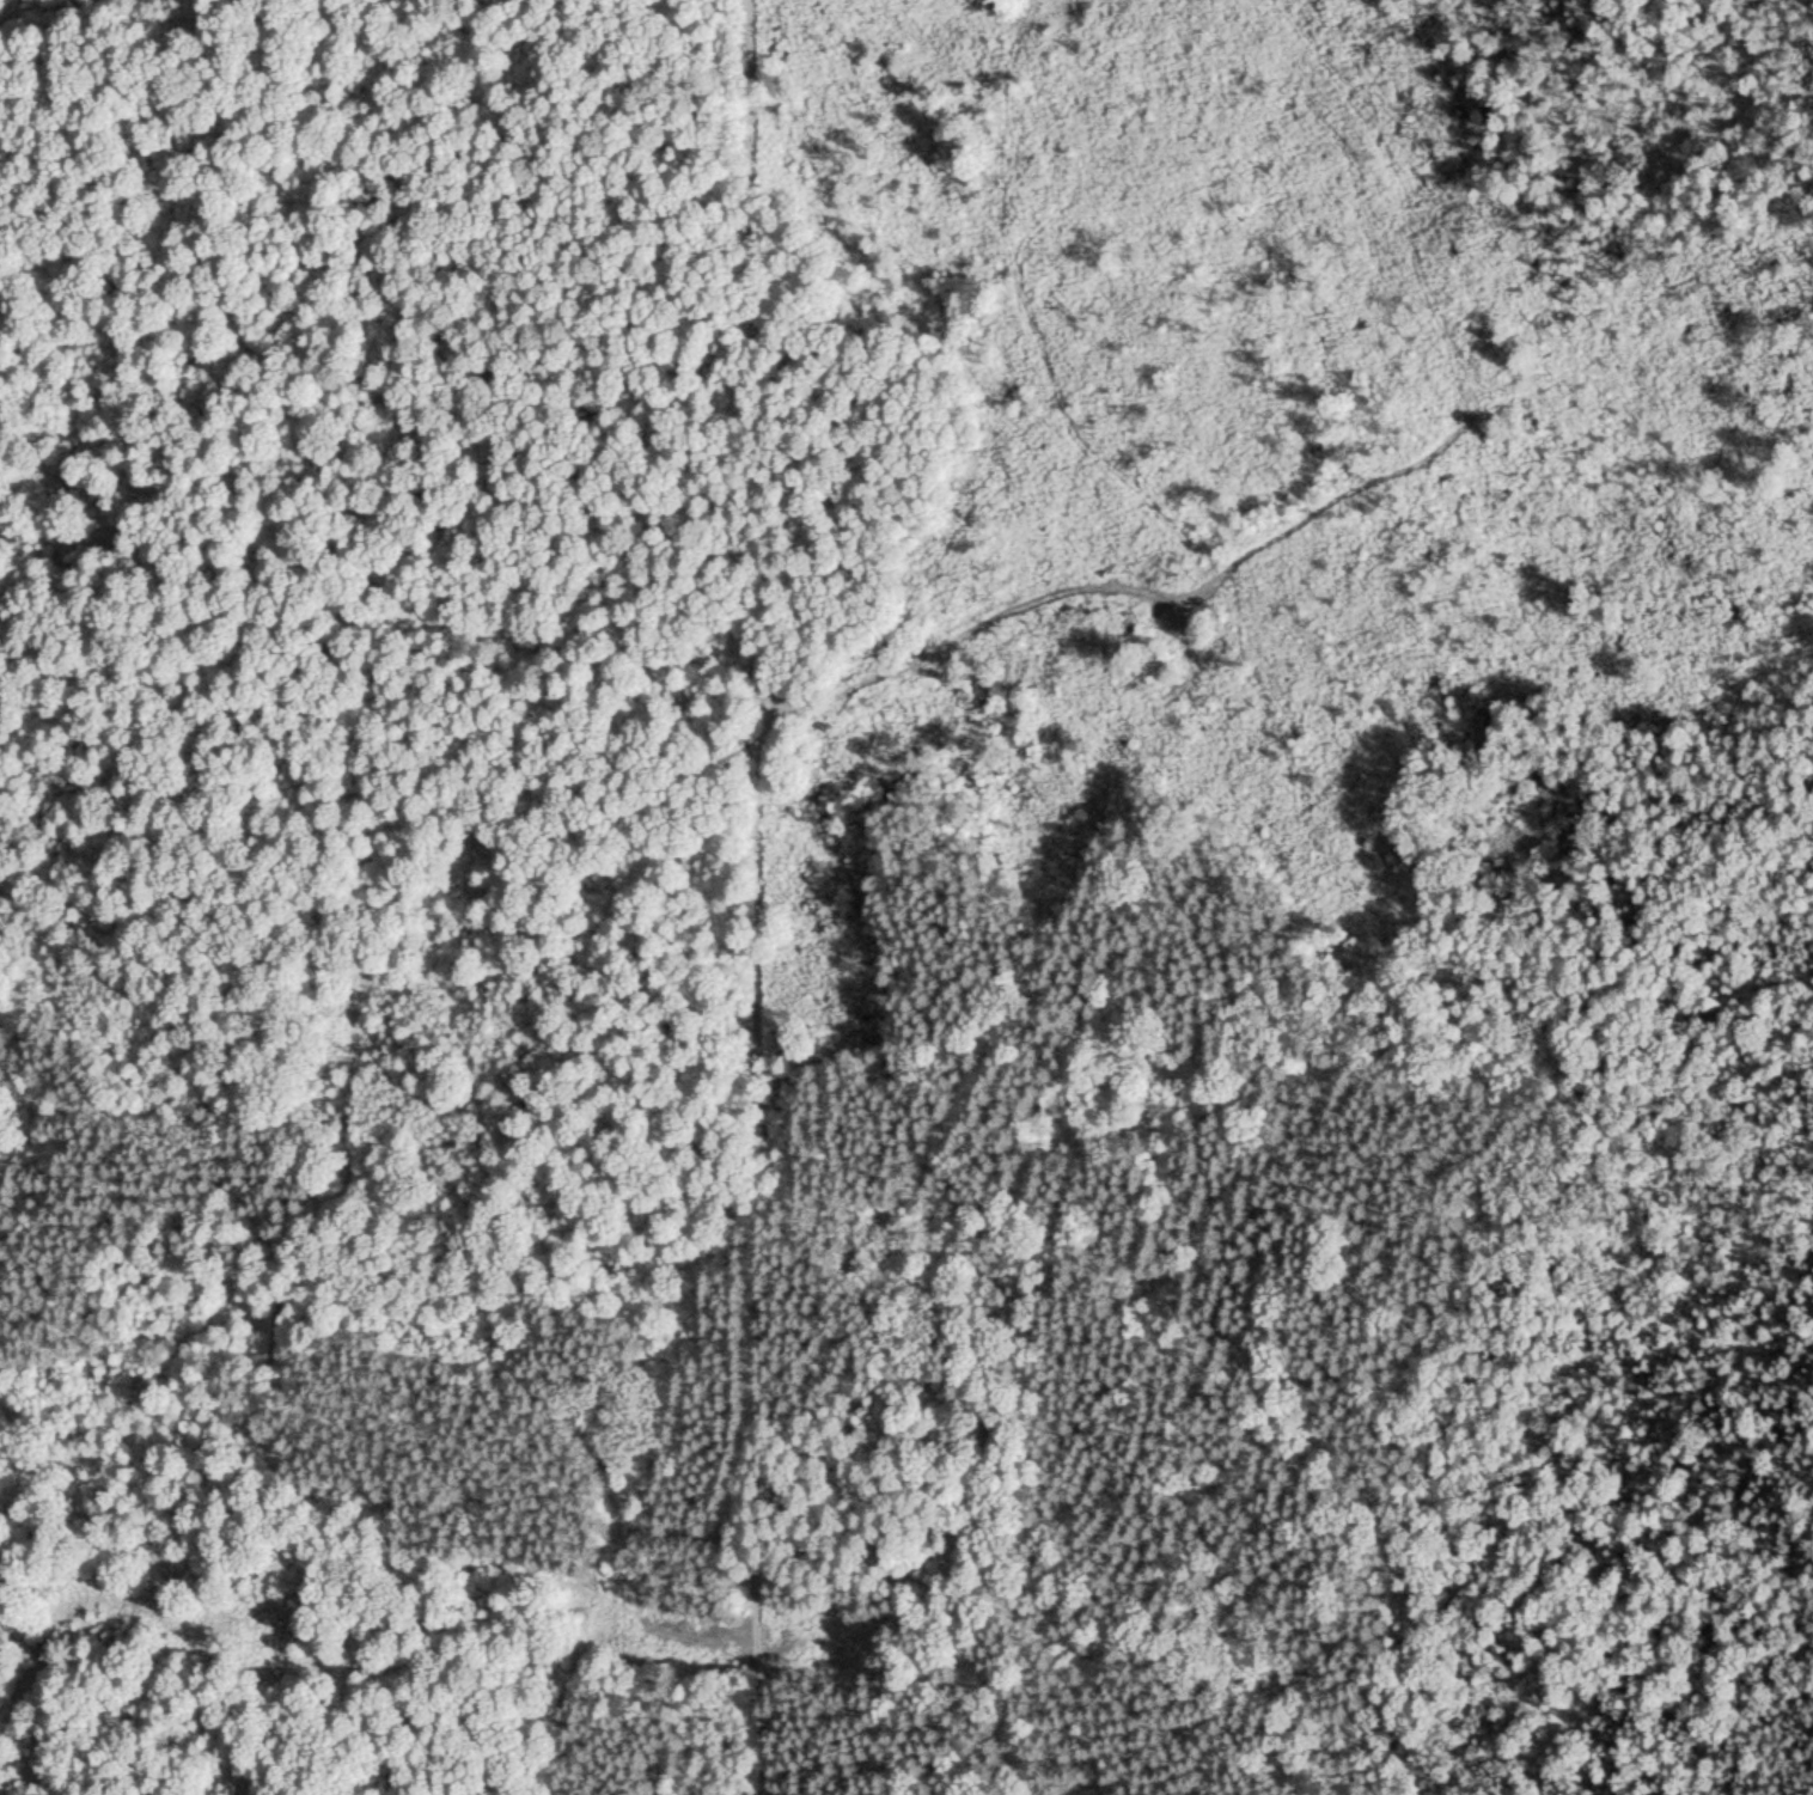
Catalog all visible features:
road: (749, 897)

